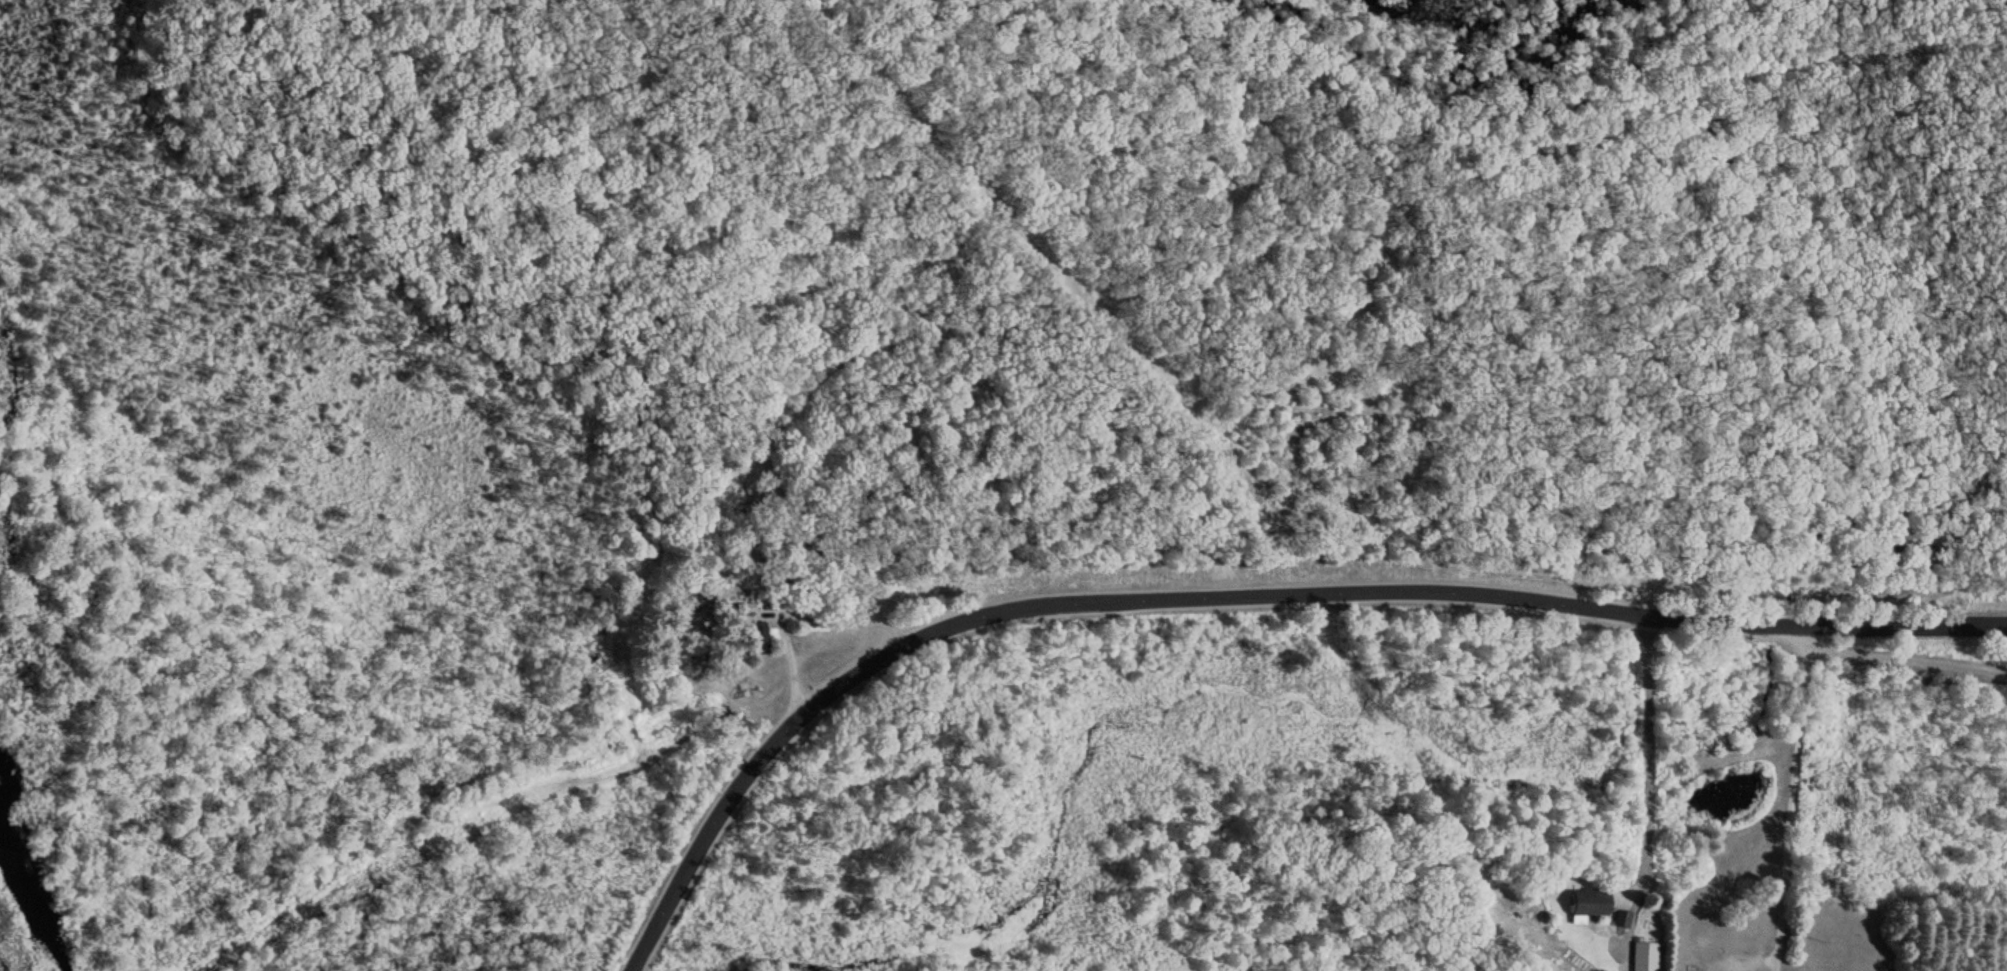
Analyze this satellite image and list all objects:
building: (1892, 551)
road: (1233, 591)
road: (846, 611)
road: (790, 653)
road: (1892, 667)
road: (1647, 741)
road: (1790, 796)
building: (1585, 903)
building: (1621, 917)
building: (1644, 956)

